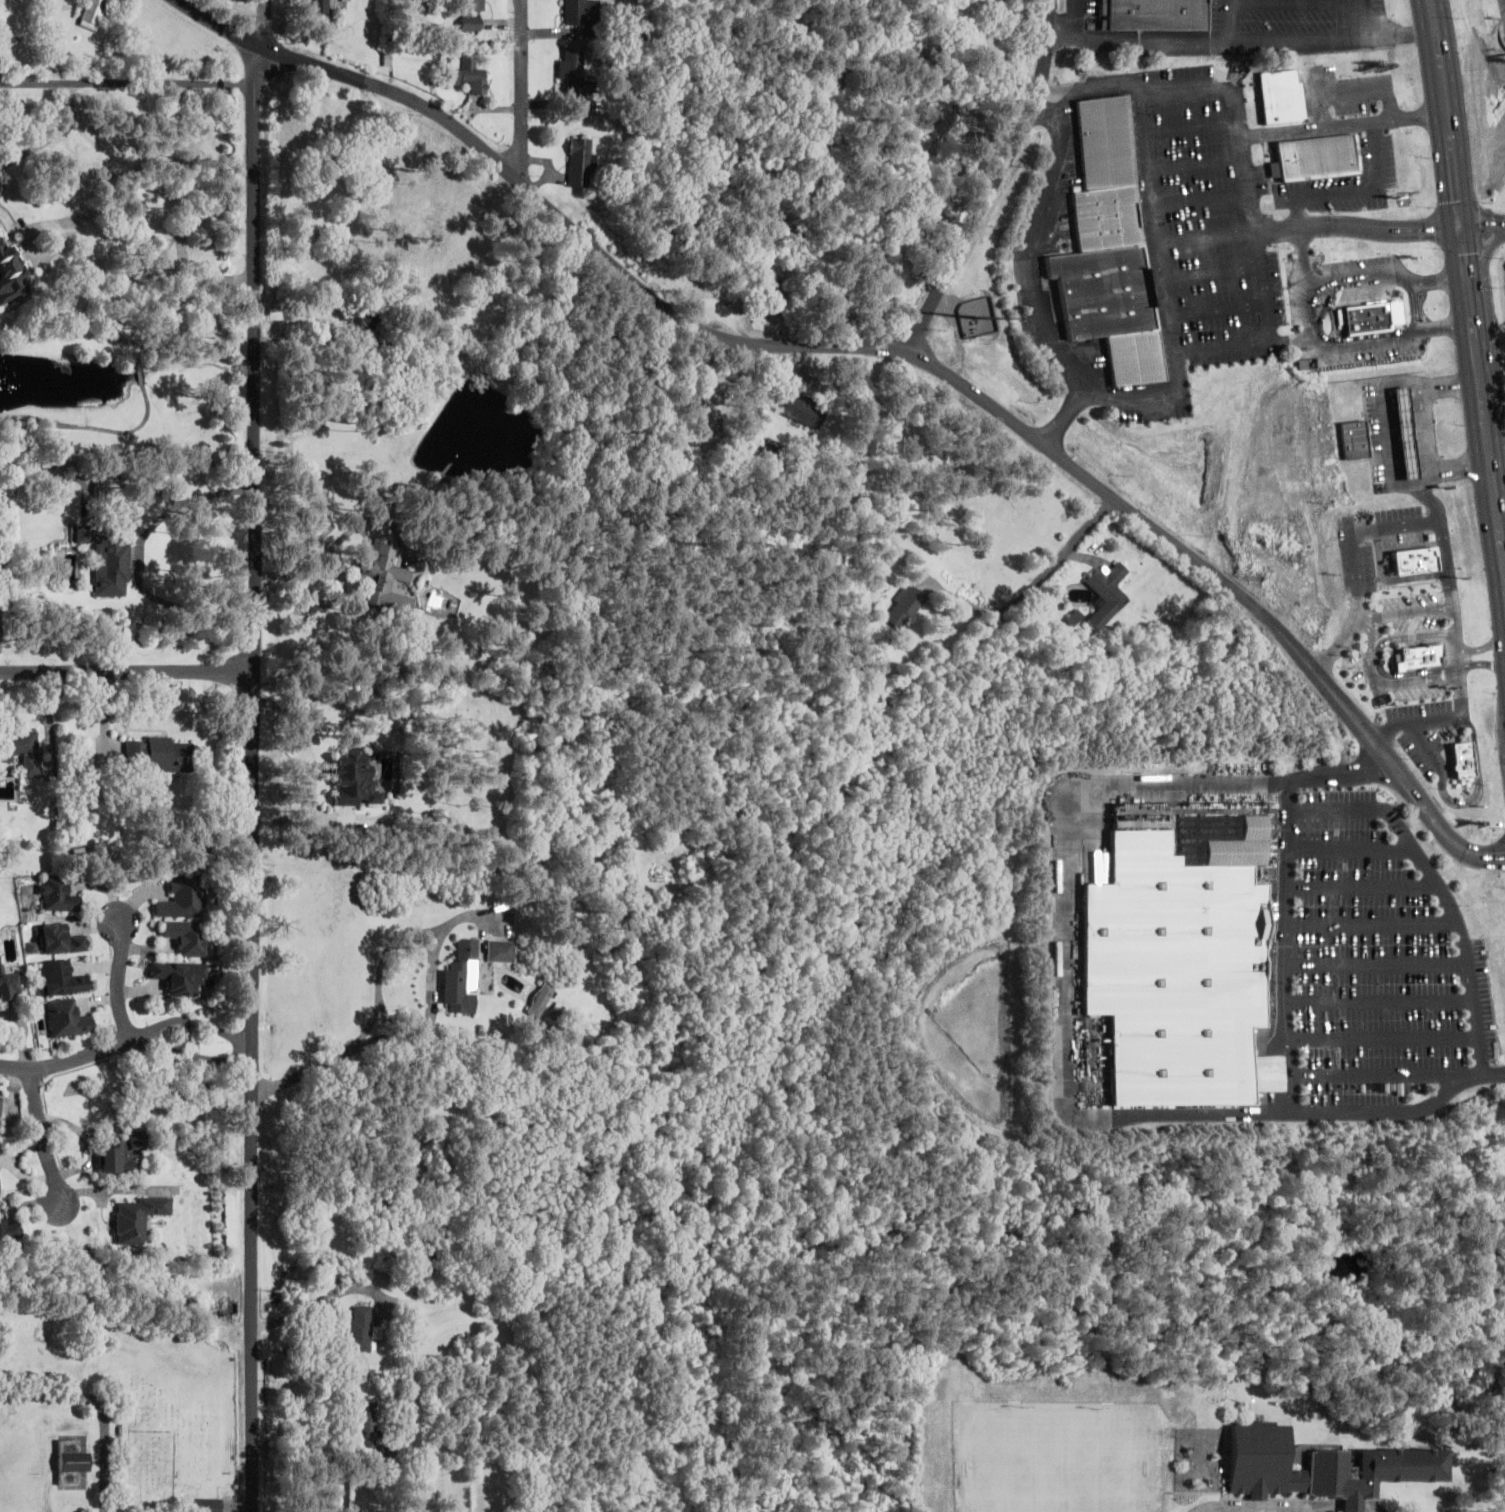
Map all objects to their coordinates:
building: (322, 5)
building: (579, 12)
building: (1151, 13)
building: (93, 14)
building: (473, 15)
road: (215, 18)
road: (261, 18)
building: (994, 41)
building: (576, 69)
building: (468, 75)
road: (1087, 87)
road: (521, 91)
building: (1279, 94)
road: (1343, 122)
road: (1194, 126)
building: (1105, 140)
building: (1314, 154)
road: (1199, 157)
building: (583, 162)
road: (1248, 168)
road: (993, 178)
road: (1204, 196)
building: (1109, 215)
road: (1310, 223)
traffic signals: (1460, 224)
road: (1482, 224)
road: (1038, 248)
road: (1485, 250)
road: (1300, 255)
road: (1213, 268)
building: (11, 273)
road: (1469, 286)
building: (1104, 288)
building: (772, 300)
road: (1321, 302)
road: (1411, 302)
road: (1218, 306)
road: (1170, 308)
road: (1301, 309)
building: (1362, 315)
building: (979, 318)
building: (364, 321)
road: (1244, 342)
building: (1132, 355)
road: (930, 361)
building: (804, 411)
building: (705, 419)
building: (1405, 430)
gas station: (1405, 430)
road: (1383, 434)
building: (1353, 436)
road: (1424, 454)
road: (1363, 530)
building: (1410, 558)
building: (108, 560)
building: (386, 578)
road: (1388, 578)
building: (1106, 593)
building: (905, 606)
road: (1409, 610)
building: (1075, 617)
road: (1363, 619)
road: (1453, 628)
road: (1482, 647)
building: (1420, 654)
road: (1378, 657)
road: (1482, 661)
road: (1369, 665)
road: (128, 672)
road: (1459, 682)
road: (1415, 718)
road: (1426, 743)
building: (22, 750)
building: (160, 754)
building: (1462, 757)
road: (259, 774)
building: (355, 779)
road: (1481, 785)
road: (1349, 845)
road: (1363, 885)
building: (59, 895)
road: (1443, 896)
building: (185, 899)
road: (1375, 923)
building: (188, 937)
building: (62, 940)
road: (1291, 949)
building: (503, 951)
road: (1381, 965)
road: (384, 973)
building: (1179, 973)
building: (181, 976)
building: (463, 978)
building: (63, 979)
road: (120, 979)
building: (10, 984)
building: (541, 1000)
road: (1384, 1004)
road: (1070, 1012)
building: (67, 1019)
road: (1386, 1036)
road: (405, 1037)
road: (126, 1044)
road: (1388, 1076)
building: (0, 1103)
road: (43, 1138)
building: (122, 1153)
building: (139, 1218)
building: (8, 1227)
building: (363, 1329)
building: (371, 1422)
building: (71, 1462)
building: (1322, 1466)
building: (210, 1505)

